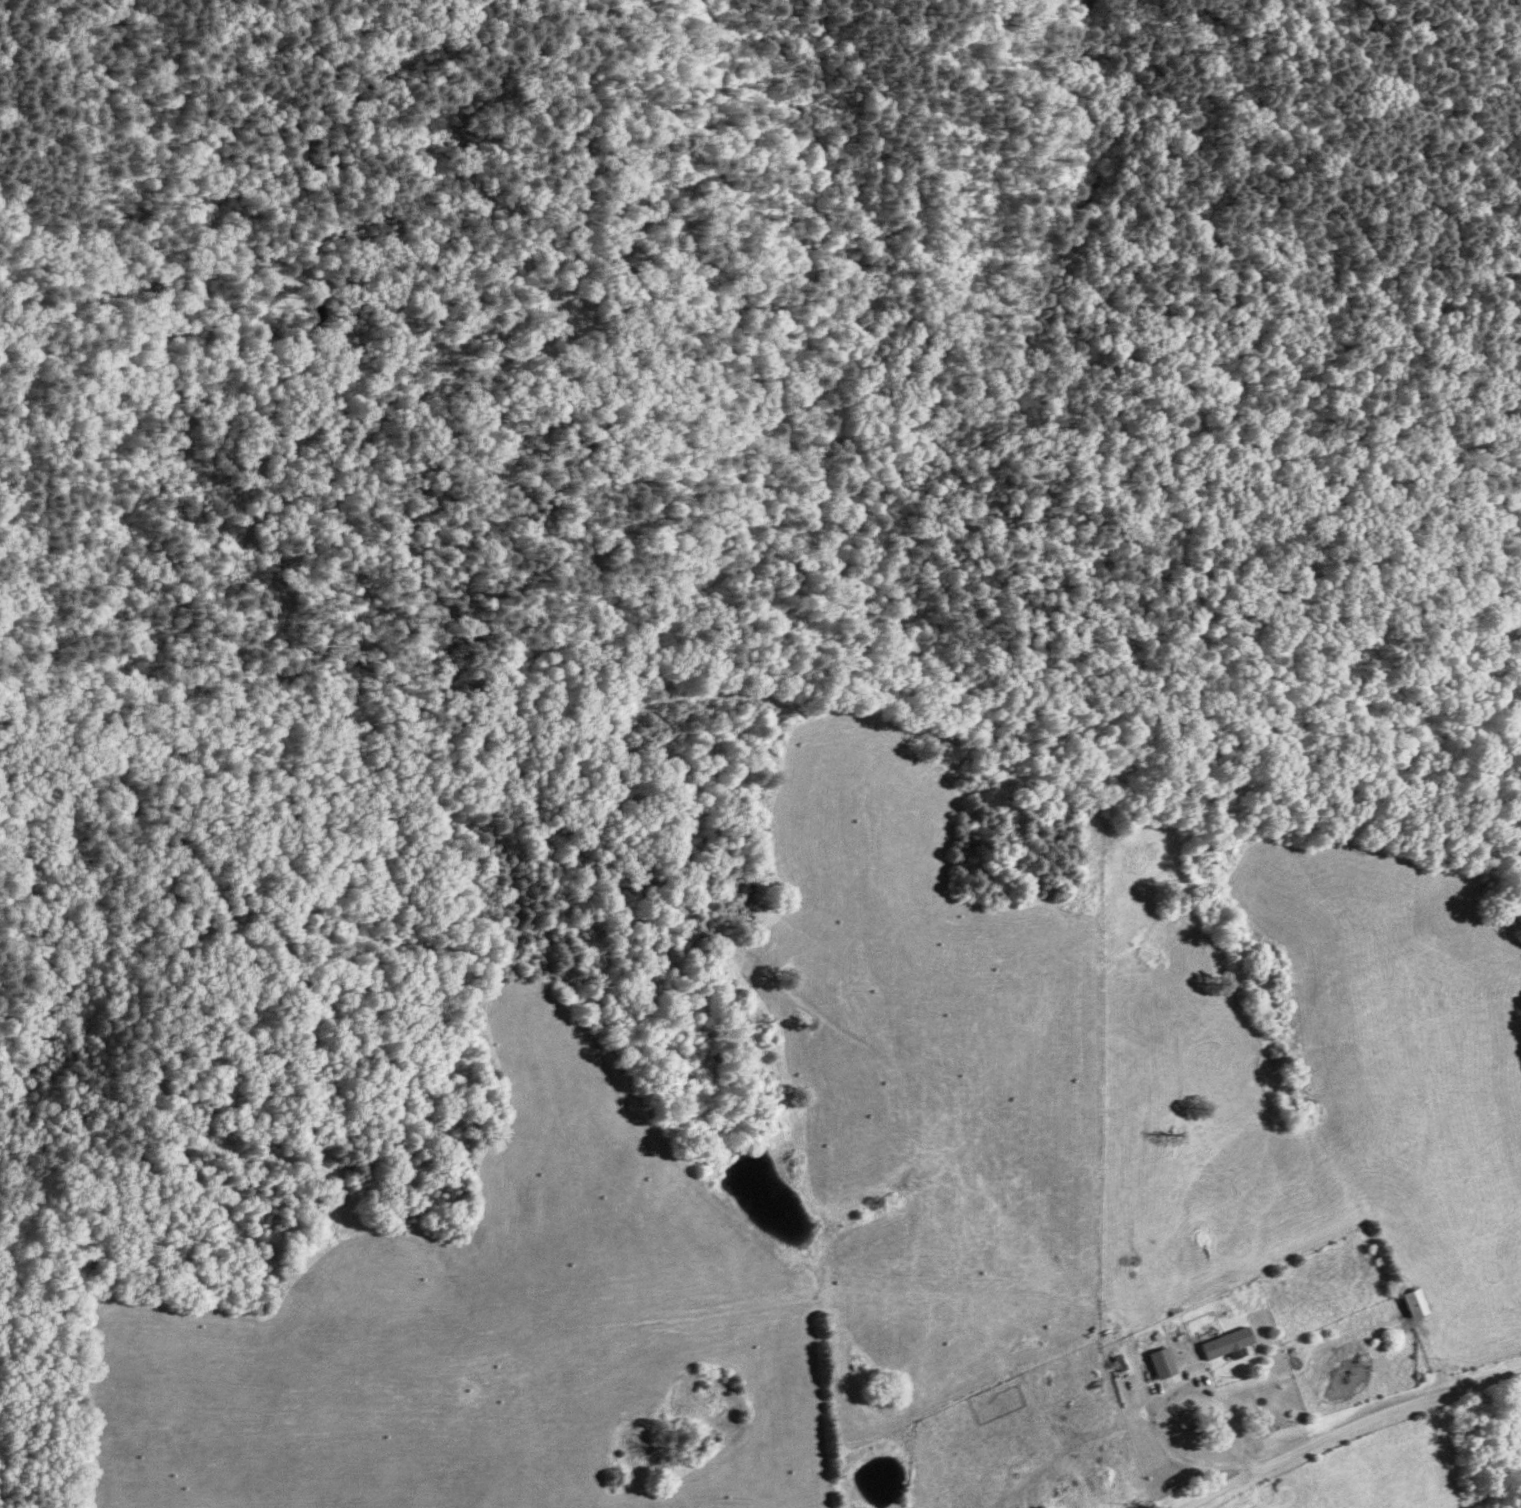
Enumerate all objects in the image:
building: (1416, 1302)
building: (1228, 1342)
building: (1163, 1362)
road: (1151, 1426)
road: (1348, 1430)
road: (1242, 1468)

